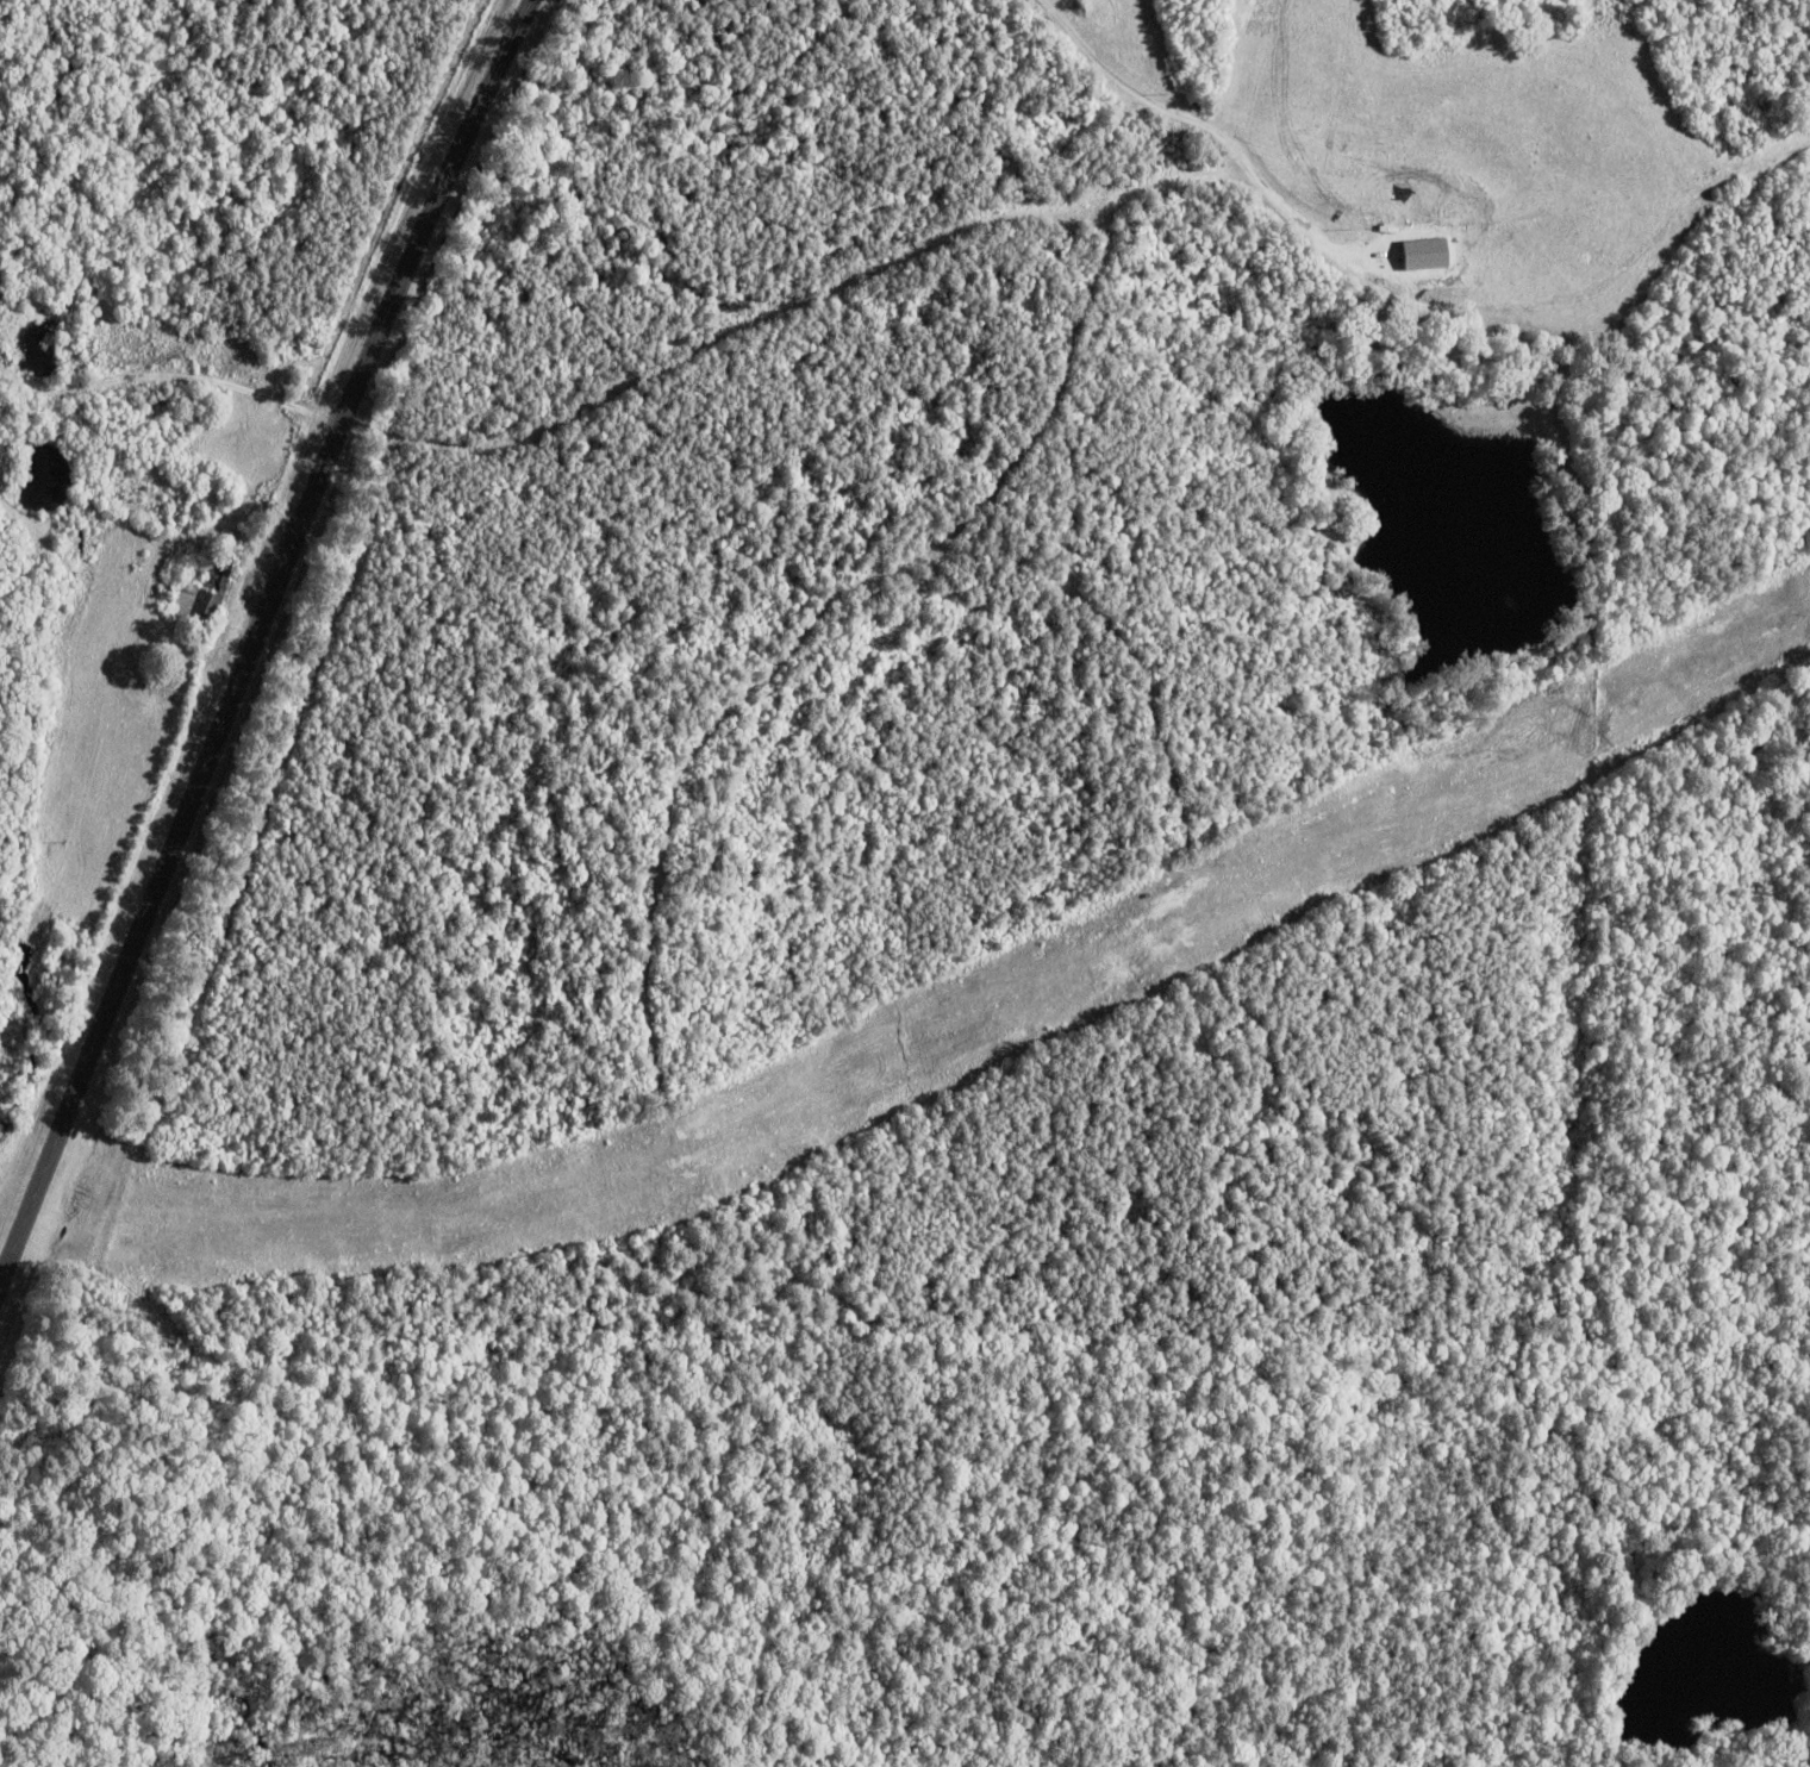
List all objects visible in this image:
building: (192, 602)
road: (254, 632)

